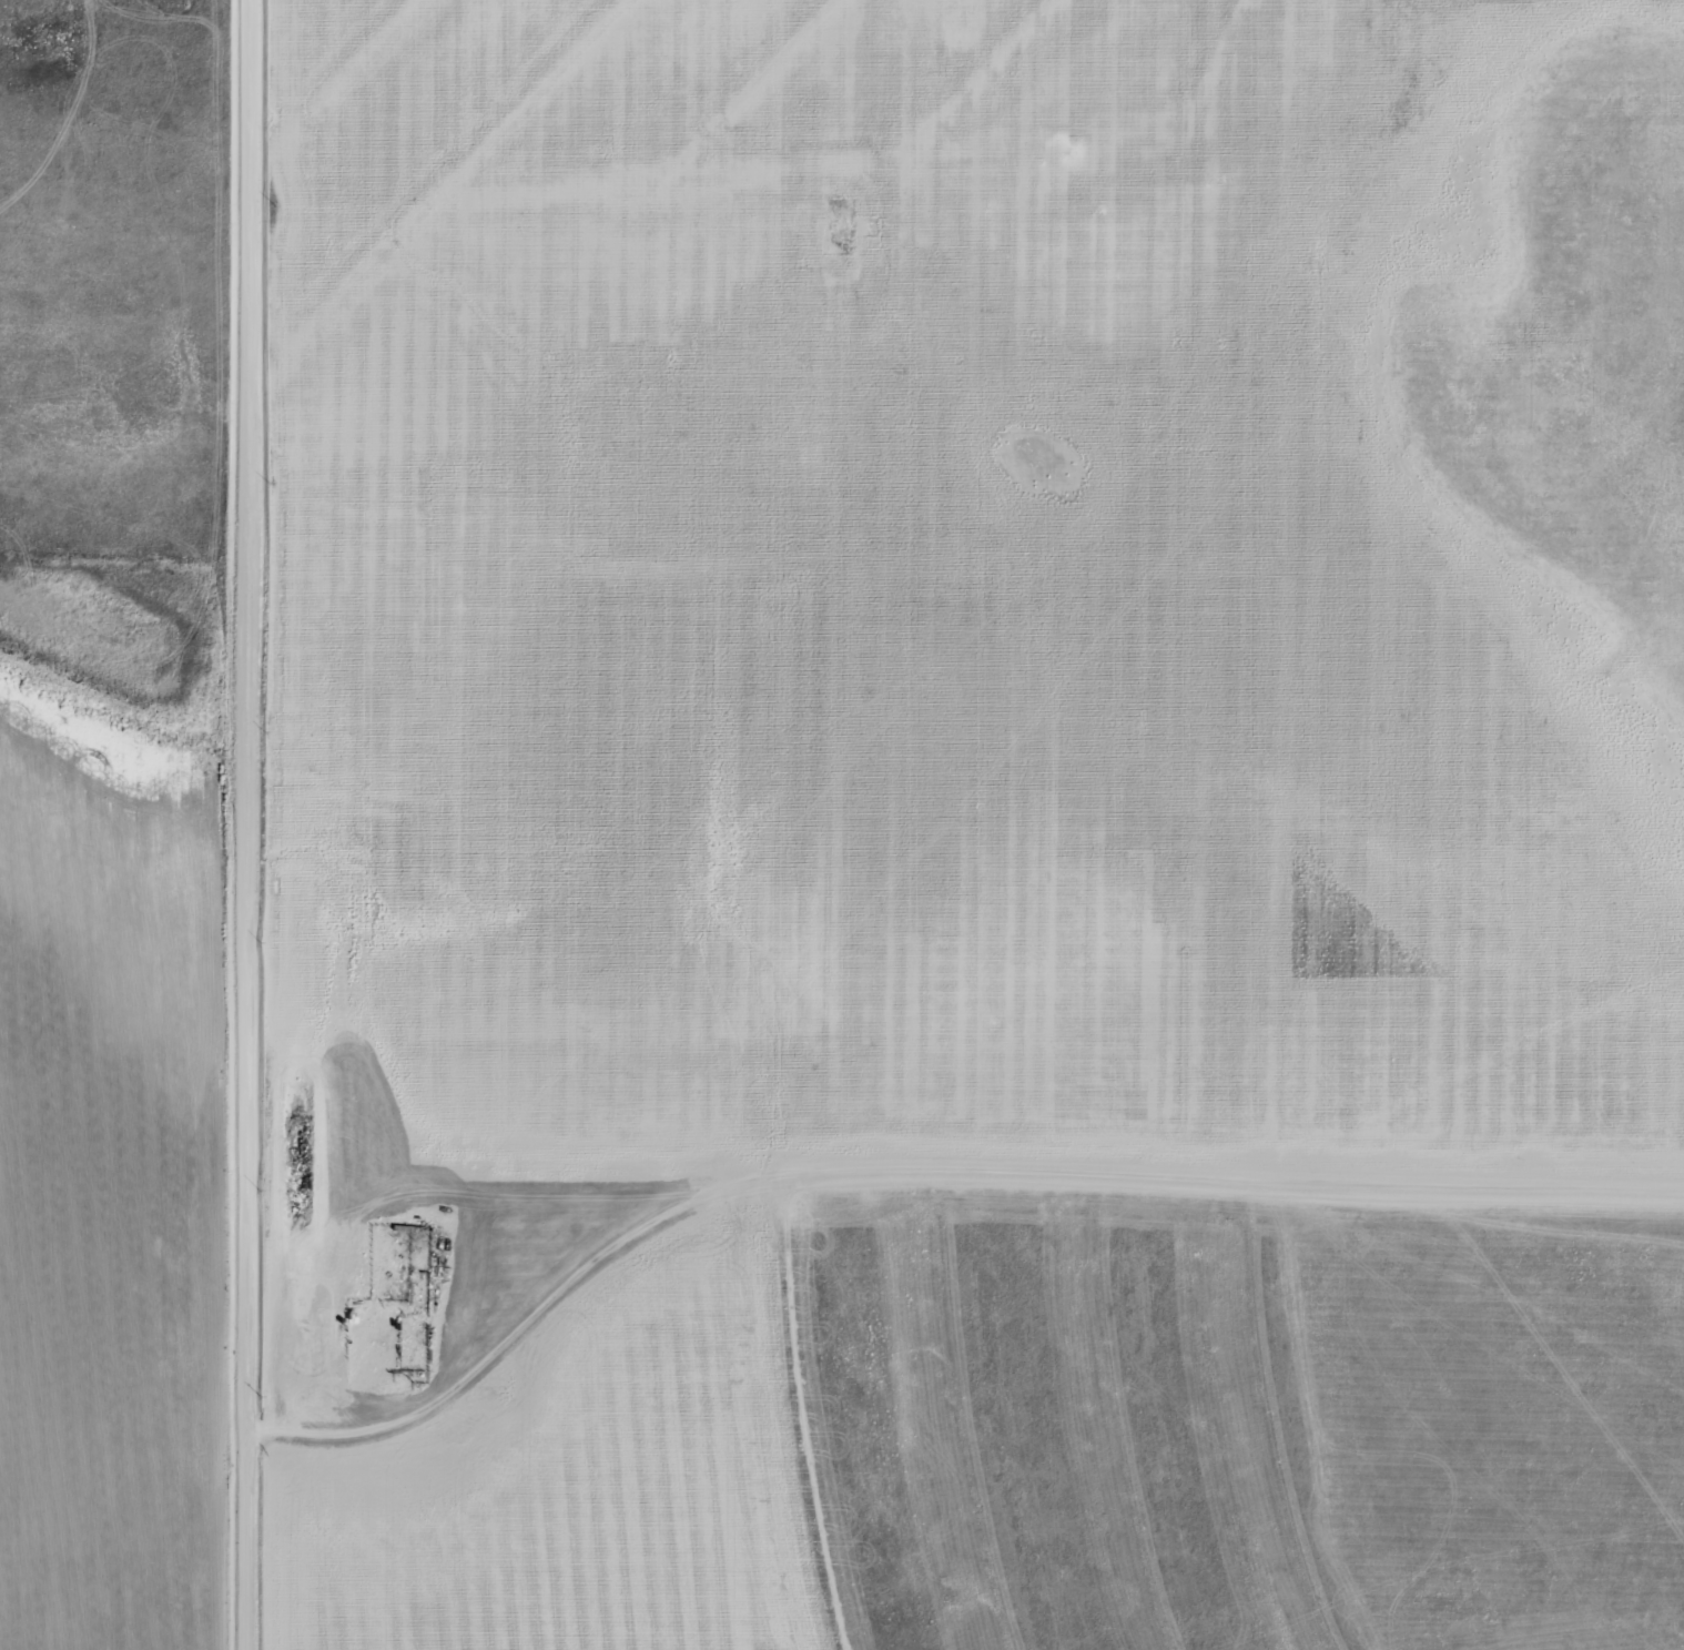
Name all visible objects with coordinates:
road: (254, 824)
building: (310, 1359)

